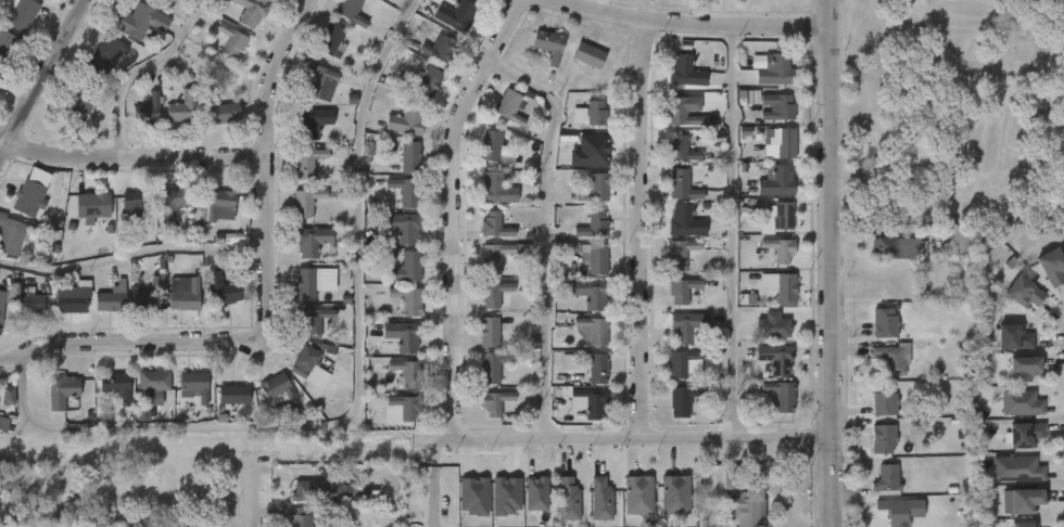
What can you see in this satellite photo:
building: (271, 0)
road: (1062, 0)
building: (251, 11)
building: (352, 12)
building: (20, 14)
building: (456, 15)
building: (141, 21)
road: (686, 25)
building: (331, 39)
building: (231, 40)
building: (549, 44)
building: (7, 47)
building: (441, 49)
building: (106, 55)
building: (590, 55)
building: (776, 68)
road: (136, 69)
building: (686, 72)
road: (41, 79)
building: (0, 80)
building: (427, 81)
building: (317, 82)
building: (748, 97)
building: (510, 106)
building: (76, 107)
building: (776, 107)
building: (185, 108)
building: (220, 108)
building: (149, 110)
building: (592, 114)
building: (685, 114)
building: (407, 120)
building: (313, 121)
building: (783, 144)
building: (493, 147)
building: (681, 150)
building: (598, 151)
building: (410, 156)
road: (134, 157)
building: (306, 162)
road: (270, 172)
building: (777, 180)
building: (683, 185)
building: (596, 189)
building: (496, 190)
building: (406, 191)
building: (28, 197)
building: (173, 201)
building: (305, 202)
building: (135, 204)
building: (217, 204)
building: (91, 206)
road: (453, 211)
building: (781, 216)
building: (685, 222)
building: (594, 224)
building: (495, 226)
building: (403, 227)
road: (645, 229)
road: (545, 231)
road: (733, 232)
building: (11, 235)
building: (963, 237)
building: (312, 242)
building: (899, 247)
building: (781, 249)
building: (680, 250)
road: (134, 255)
building: (499, 256)
building: (593, 258)
road: (828, 263)
building: (406, 267)
building: (1051, 267)
building: (308, 283)
building: (783, 286)
building: (223, 290)
building: (683, 290)
building: (185, 292)
building: (591, 293)
building: (1022, 293)
building: (494, 294)
building: (151, 295)
building: (71, 297)
building: (4, 300)
building: (408, 300)
building: (110, 301)
building: (31, 304)
building: (315, 321)
building: (883, 322)
building: (687, 325)
building: (773, 326)
building: (593, 331)
building: (490, 333)
building: (403, 336)
building: (1012, 337)
road: (123, 338)
building: (776, 358)
building: (888, 359)
building: (305, 361)
building: (685, 364)
building: (493, 367)
building: (595, 367)
building: (1022, 367)
building: (407, 373)
building: (153, 381)
building: (194, 385)
building: (116, 386)
building: (277, 387)
building: (61, 391)
building: (232, 395)
building: (782, 395)
building: (8, 396)
building: (882, 399)
road: (356, 400)
building: (586, 401)
building: (683, 401)
building: (494, 402)
building: (1019, 402)
building: (406, 407)
building: (3, 424)
building: (1024, 434)
road: (641, 437)
building: (881, 438)
road: (121, 453)
building: (1019, 468)
road: (432, 478)
building: (885, 478)
building: (727, 480)
building: (0, 491)
road: (246, 491)
building: (319, 492)
building: (533, 492)
building: (473, 496)
building: (506, 496)
building: (639, 496)
building: (675, 496)
building: (598, 499)
building: (566, 500)
building: (1021, 500)
building: (744, 505)
building: (891, 511)
building: (301, 517)
building: (191, 524)
building: (1022, 525)

